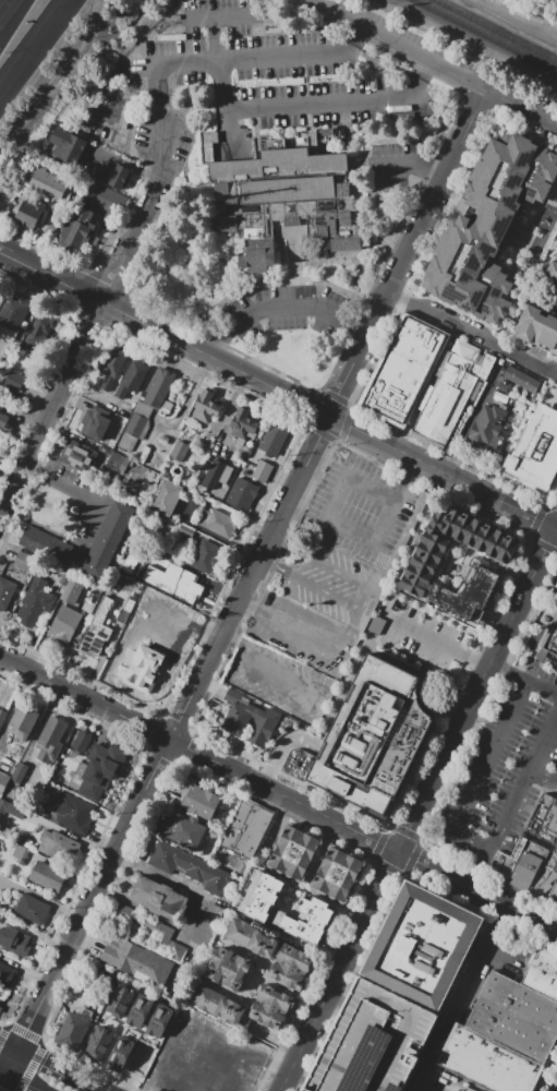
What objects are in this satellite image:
road: (10, 13)
road: (230, 15)
railway: (497, 29)
railway: (485, 35)
road: (355, 36)
road: (393, 45)
road: (33, 48)
parking lot: (456, 56)
road: (250, 58)
road: (425, 73)
road: (60, 76)
road: (158, 79)
road: (520, 108)
road: (269, 109)
road: (160, 112)
building: (207, 144)
building: (68, 146)
road: (398, 163)
road: (433, 167)
building: (114, 176)
building: (279, 178)
building: (47, 182)
building: (106, 195)
building: (344, 203)
building: (28, 215)
building: (227, 223)
building: (338, 227)
building: (291, 228)
building: (488, 228)
building: (74, 236)
building: (344, 244)
road: (5, 250)
road: (5, 252)
building: (259, 261)
building: (552, 273)
flagpole: (201, 297)
road: (280, 309)
building: (11, 314)
road: (90, 326)
building: (536, 327)
building: (38, 333)
road: (472, 334)
road: (226, 363)
building: (113, 365)
building: (404, 371)
building: (521, 379)
building: (13, 380)
building: (132, 381)
building: (159, 387)
building: (452, 391)
building: (205, 407)
road: (22, 413)
building: (117, 419)
road: (470, 419)
building: (94, 421)
building: (5, 424)
building: (135, 424)
building: (243, 425)
building: (487, 428)
building: (273, 440)
building: (159, 444)
building: (179, 451)
building: (535, 451)
building: (78, 455)
road: (32, 467)
road: (410, 468)
building: (262, 470)
road: (300, 473)
building: (214, 475)
building: (225, 476)
building: (241, 494)
building: (167, 496)
road: (86, 497)
road: (497, 500)
building: (216, 521)
road: (339, 524)
road: (556, 524)
road: (556, 527)
building: (184, 530)
building: (107, 539)
building: (51, 548)
building: (495, 549)
building: (205, 555)
building: (23, 561)
parking lot: (352, 573)
building: (63, 579)
building: (187, 589)
building: (72, 590)
building: (5, 591)
road: (362, 595)
road: (522, 595)
building: (465, 597)
building: (36, 602)
road: (245, 604)
building: (144, 614)
building: (122, 615)
building: (64, 624)
road: (293, 627)
building: (97, 630)
road: (441, 642)
building: (549, 648)
building: (162, 652)
road: (221, 654)
road: (274, 679)
road: (523, 680)
road: (85, 698)
building: (219, 707)
building: (2, 716)
building: (23, 718)
building: (234, 726)
building: (372, 736)
building: (51, 739)
building: (81, 742)
road: (280, 745)
road: (545, 746)
road: (444, 757)
parking lot: (501, 769)
building: (100, 770)
road: (482, 774)
building: (3, 781)
road: (284, 795)
building: (198, 800)
building: (11, 808)
building: (74, 813)
road: (505, 816)
building: (544, 819)
building: (184, 829)
building: (242, 835)
building: (58, 846)
building: (295, 853)
building: (20, 854)
building: (519, 865)
building: (189, 866)
building: (338, 874)
building: (545, 876)
building: (48, 877)
road: (476, 891)
building: (553, 896)
building: (264, 897)
building: (159, 899)
building: (32, 909)
building: (0, 914)
road: (191, 914)
building: (310, 920)
building: (208, 925)
building: (152, 930)
building: (252, 937)
building: (14, 940)
building: (427, 946)
building: (223, 957)
building: (138, 962)
building: (241, 964)
building: (292, 966)
road: (338, 970)
building: (217, 971)
building: (542, 972)
road: (57, 973)
building: (5, 974)
building: (100, 976)
building: (233, 979)
building: (0, 999)
road: (338, 999)
road: (464, 1000)
building: (119, 1002)
building: (219, 1005)
building: (274, 1007)
building: (0, 1008)
building: (140, 1012)
building: (516, 1016)
building: (159, 1020)
building: (74, 1028)
building: (377, 1041)
parking garage: (377, 1041)
building: (98, 1043)
road: (10, 1045)
building: (120, 1056)
building: (491, 1062)
road: (51, 1067)
road: (3, 1075)
road: (300, 1077)
road: (458, 1077)
road: (23, 1083)
road: (92, 1087)
building: (470, 1089)

